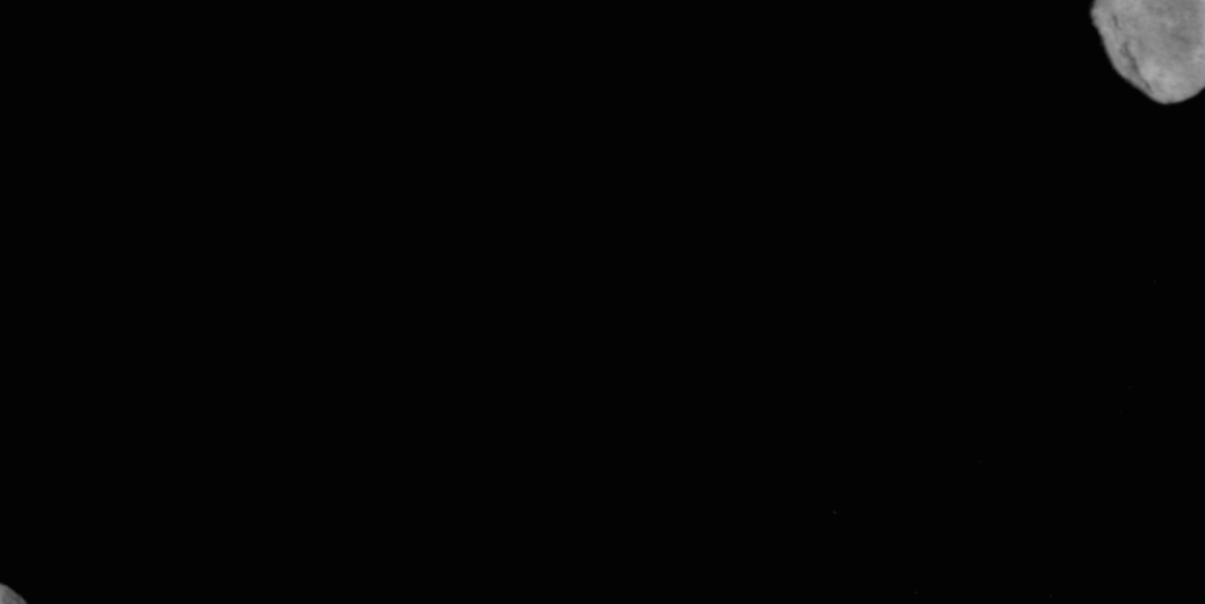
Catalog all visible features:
river: (66, 481)

